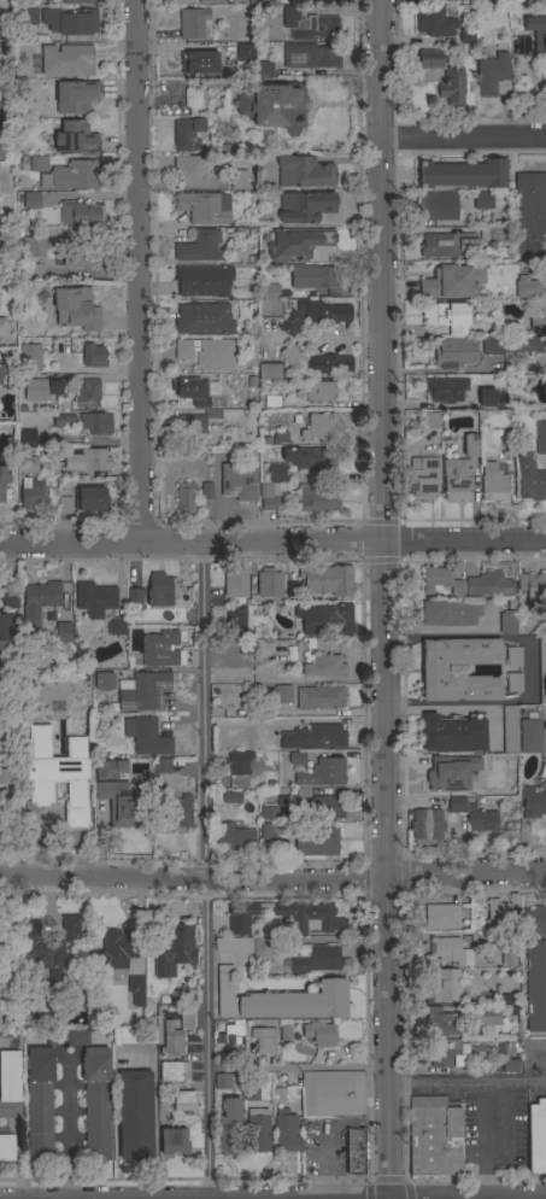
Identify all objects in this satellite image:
building: (78, 1)
building: (211, 1)
building: (266, 1)
building: (289, 16)
building: (28, 17)
building: (70, 22)
building: (433, 22)
building: (194, 24)
building: (316, 29)
building: (536, 34)
building: (466, 36)
building: (521, 46)
building: (229, 48)
building: (24, 52)
building: (245, 53)
building: (312, 58)
building: (430, 59)
building: (55, 60)
building: (198, 62)
building: (263, 69)
building: (491, 74)
building: (452, 86)
building: (74, 96)
building: (274, 105)
building: (188, 135)
building: (75, 138)
road: (462, 139)
building: (1, 148)
building: (229, 150)
building: (18, 152)
building: (43, 163)
building: (188, 171)
building: (304, 172)
building: (463, 174)
building: (71, 176)
building: (239, 180)
building: (29, 200)
building: (482, 201)
building: (530, 204)
building: (305, 206)
building: (438, 206)
building: (204, 207)
building: (82, 214)
building: (481, 218)
building: (492, 234)
building: (297, 242)
building: (447, 245)
building: (35, 246)
building: (199, 247)
building: (80, 256)
building: (31, 271)
road: (136, 271)
building: (316, 276)
building: (202, 280)
building: (438, 282)
building: (524, 288)
building: (477, 291)
building: (270, 303)
building: (75, 308)
building: (323, 311)
building: (446, 314)
building: (202, 318)
building: (292, 323)
building: (538, 324)
building: (2, 328)
road: (341, 339)
building: (524, 345)
building: (487, 346)
building: (451, 352)
building: (209, 353)
building: (292, 355)
building: (93, 356)
building: (30, 358)
building: (72, 364)
building: (329, 364)
road: (439, 369)
building: (270, 372)
building: (0, 376)
building: (190, 388)
building: (41, 390)
building: (445, 390)
building: (317, 391)
building: (87, 393)
building: (492, 399)
building: (271, 402)
building: (61, 420)
building: (430, 420)
building: (95, 423)
building: (318, 426)
building: (192, 427)
building: (280, 438)
building: (540, 438)
building: (28, 439)
building: (266, 440)
building: (470, 446)
building: (507, 446)
building: (311, 458)
building: (96, 460)
building: (28, 463)
building: (274, 473)
building: (423, 478)
building: (456, 479)
building: (529, 479)
building: (2, 481)
building: (492, 482)
building: (237, 484)
building: (33, 493)
building: (192, 496)
building: (268, 496)
building: (89, 498)
building: (317, 498)
building: (64, 505)
road: (272, 543)
building: (328, 580)
building: (441, 580)
building: (236, 583)
building: (269, 583)
building: (488, 585)
building: (159, 589)
building: (533, 589)
building: (135, 597)
building: (8, 598)
building: (94, 599)
road: (382, 599)
building: (37, 604)
building: (450, 613)
building: (325, 620)
building: (235, 622)
building: (507, 624)
building: (116, 626)
building: (6, 628)
building: (63, 632)
building: (298, 639)
building: (310, 642)
building: (246, 648)
building: (158, 650)
building: (80, 651)
building: (290, 653)
building: (513, 656)
road: (530, 666)
building: (324, 667)
building: (542, 669)
building: (434, 671)
building: (100, 683)
building: (513, 683)
building: (140, 691)
building: (282, 694)
building: (319, 697)
road: (456, 707)
building: (510, 732)
building: (532, 732)
building: (454, 733)
building: (146, 736)
building: (313, 737)
building: (297, 758)
building: (239, 761)
building: (162, 766)
building: (105, 770)
building: (475, 772)
building: (8, 773)
building: (323, 773)
building: (448, 774)
building: (58, 776)
building: (276, 780)
building: (231, 801)
building: (118, 802)
building: (532, 802)
building: (288, 807)
building: (328, 807)
building: (181, 811)
building: (269, 812)
building: (99, 814)
building: (474, 815)
building: (427, 824)
building: (268, 831)
building: (235, 837)
building: (315, 840)
building: (280, 847)
road: (206, 871)
road: (272, 883)
building: (498, 914)
building: (309, 916)
building: (240, 917)
building: (441, 917)
building: (233, 944)
building: (49, 947)
building: (117, 949)
building: (262, 949)
building: (174, 951)
building: (450, 951)
building: (507, 955)
building: (312, 958)
building: (535, 967)
building: (446, 984)
building: (187, 989)
building: (136, 990)
building: (280, 999)
building: (164, 1000)
building: (184, 1014)
building: (489, 1016)
building: (246, 1022)
building: (440, 1022)
building: (284, 1029)
building: (319, 1033)
building: (67, 1036)
building: (135, 1036)
building: (171, 1039)
building: (230, 1039)
building: (264, 1040)
building: (442, 1053)
building: (505, 1058)
road: (299, 1065)
building: (171, 1071)
building: (222, 1081)
building: (8, 1082)
road: (466, 1086)
building: (251, 1092)
building: (333, 1094)
building: (96, 1101)
building: (39, 1103)
building: (184, 1103)
building: (135, 1116)
road: (67, 1125)
building: (229, 1128)
road: (328, 1130)
building: (257, 1131)
building: (286, 1131)
building: (536, 1136)
building: (434, 1139)
building: (172, 1141)
road: (494, 1142)
building: (6, 1147)
building: (354, 1152)

